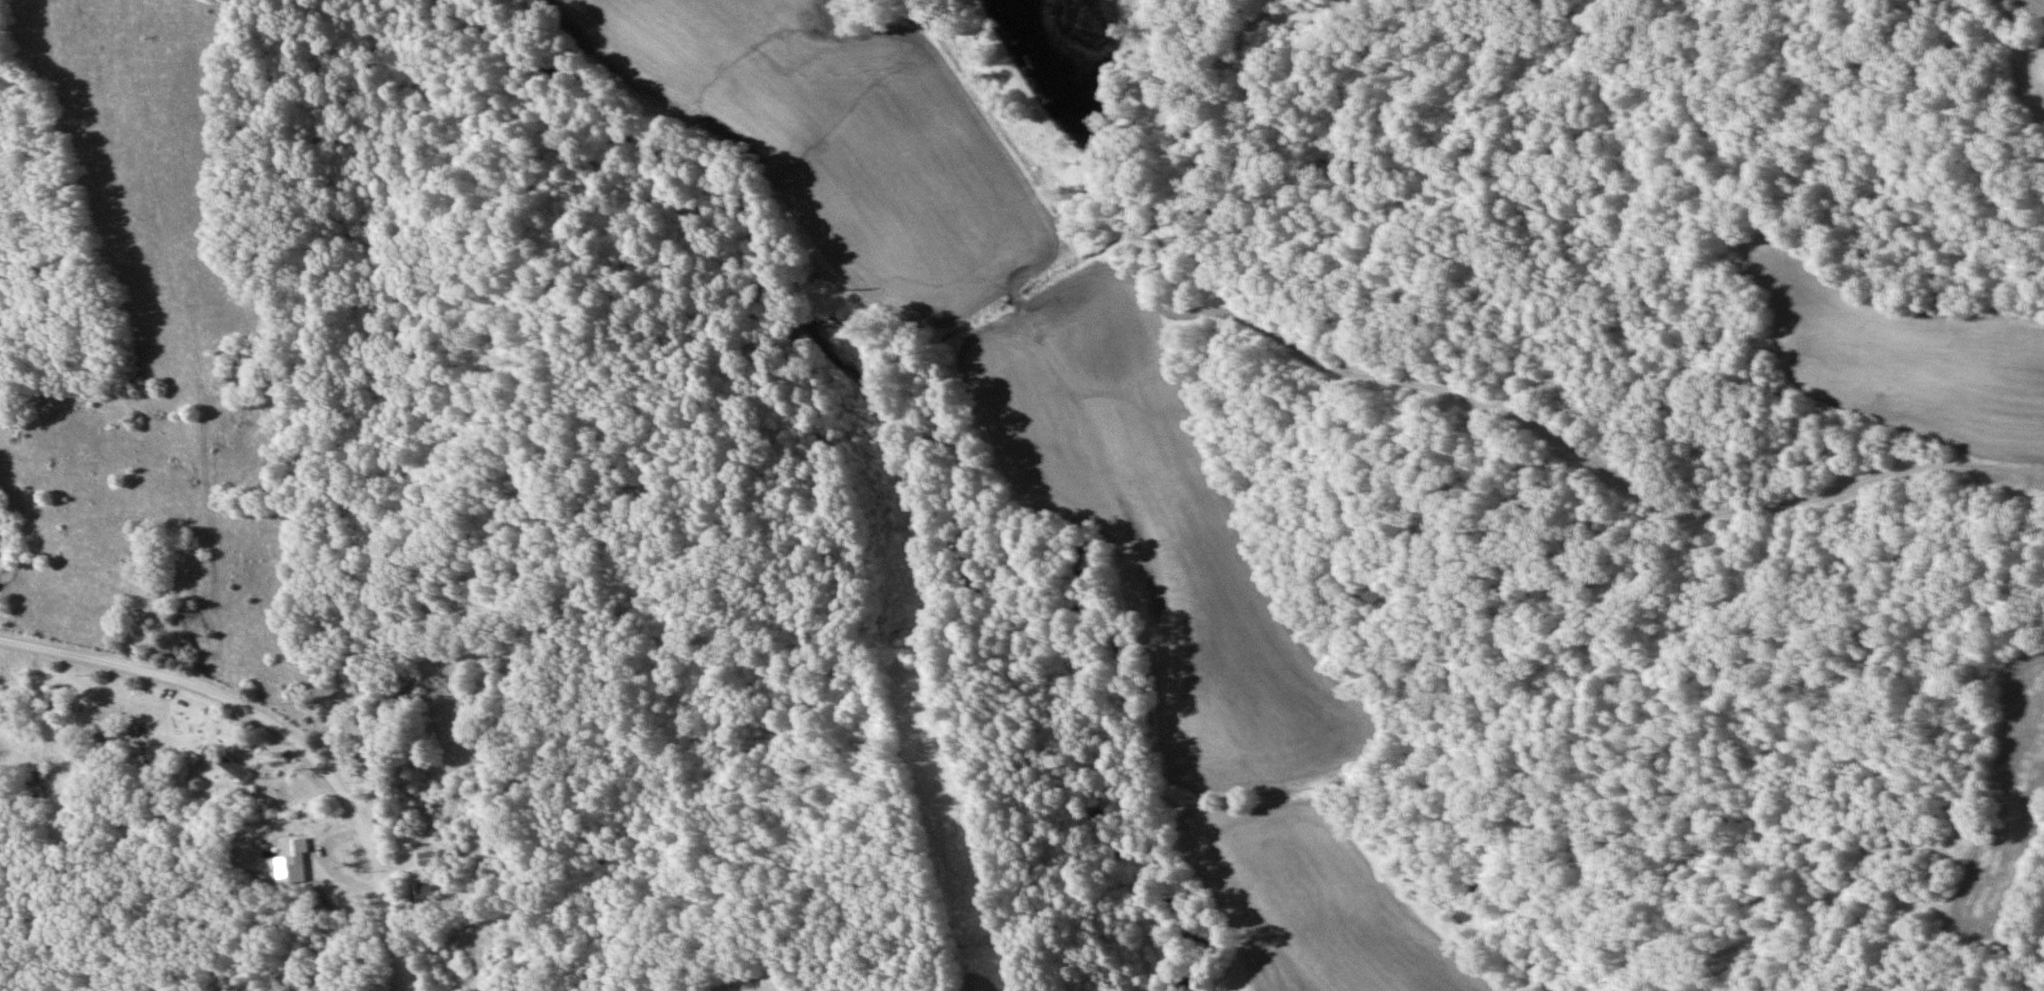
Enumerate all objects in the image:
power tower: (825, 292)
road: (285, 723)
building: (116, 734)
building: (228, 764)
building: (370, 773)
building: (297, 853)
building: (424, 893)

